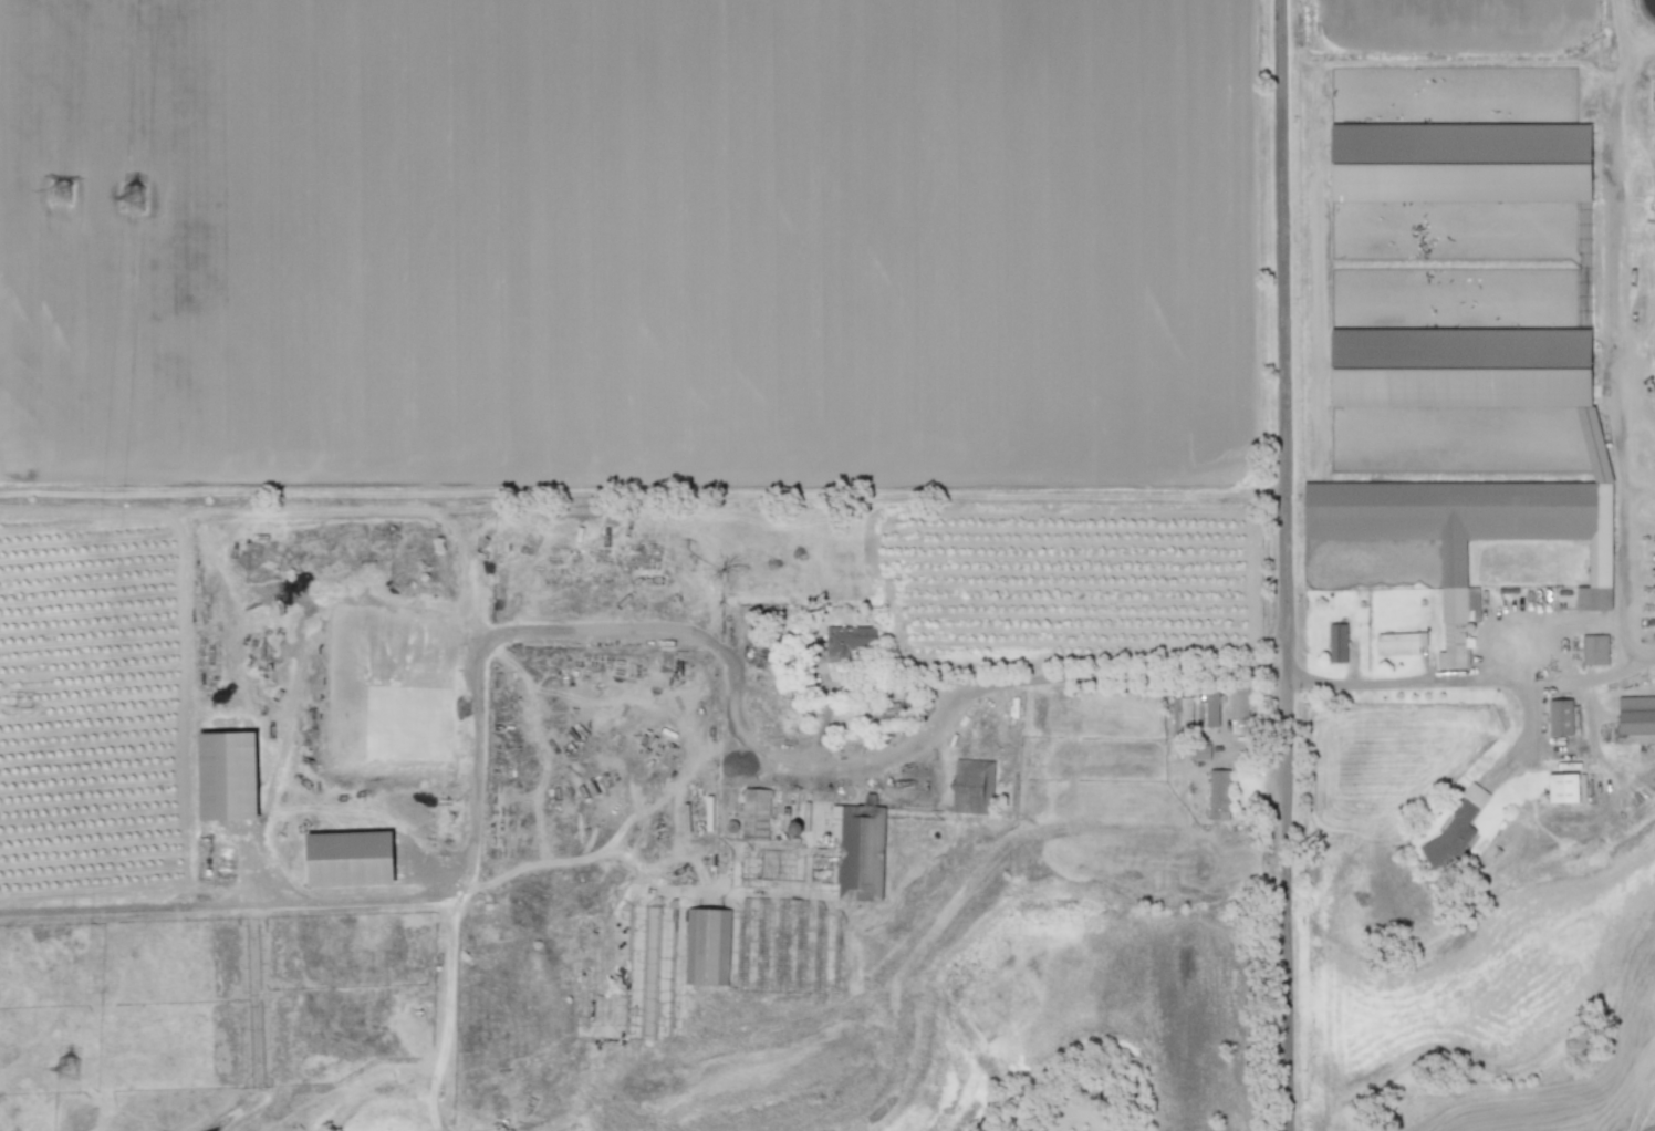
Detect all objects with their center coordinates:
building: (1458, 158)
power tower: (53, 190)
power tower: (139, 196)
road: (1615, 362)
building: (1593, 443)
road: (1286, 564)
building: (1456, 615)
road: (706, 641)
building: (845, 641)
building: (1336, 642)
building: (1399, 642)
building: (1593, 648)
road: (1472, 678)
building: (1238, 708)
building: (1195, 709)
building: (1560, 716)
building: (1636, 717)
building: (1201, 750)
road: (1554, 753)
building: (227, 775)
building: (971, 785)
building: (1562, 787)
building: (1217, 791)
building: (754, 813)
building: (1456, 824)
building: (858, 850)
building: (348, 857)
building: (706, 945)
power tower: (74, 1071)
crop: (1068, 1110)

